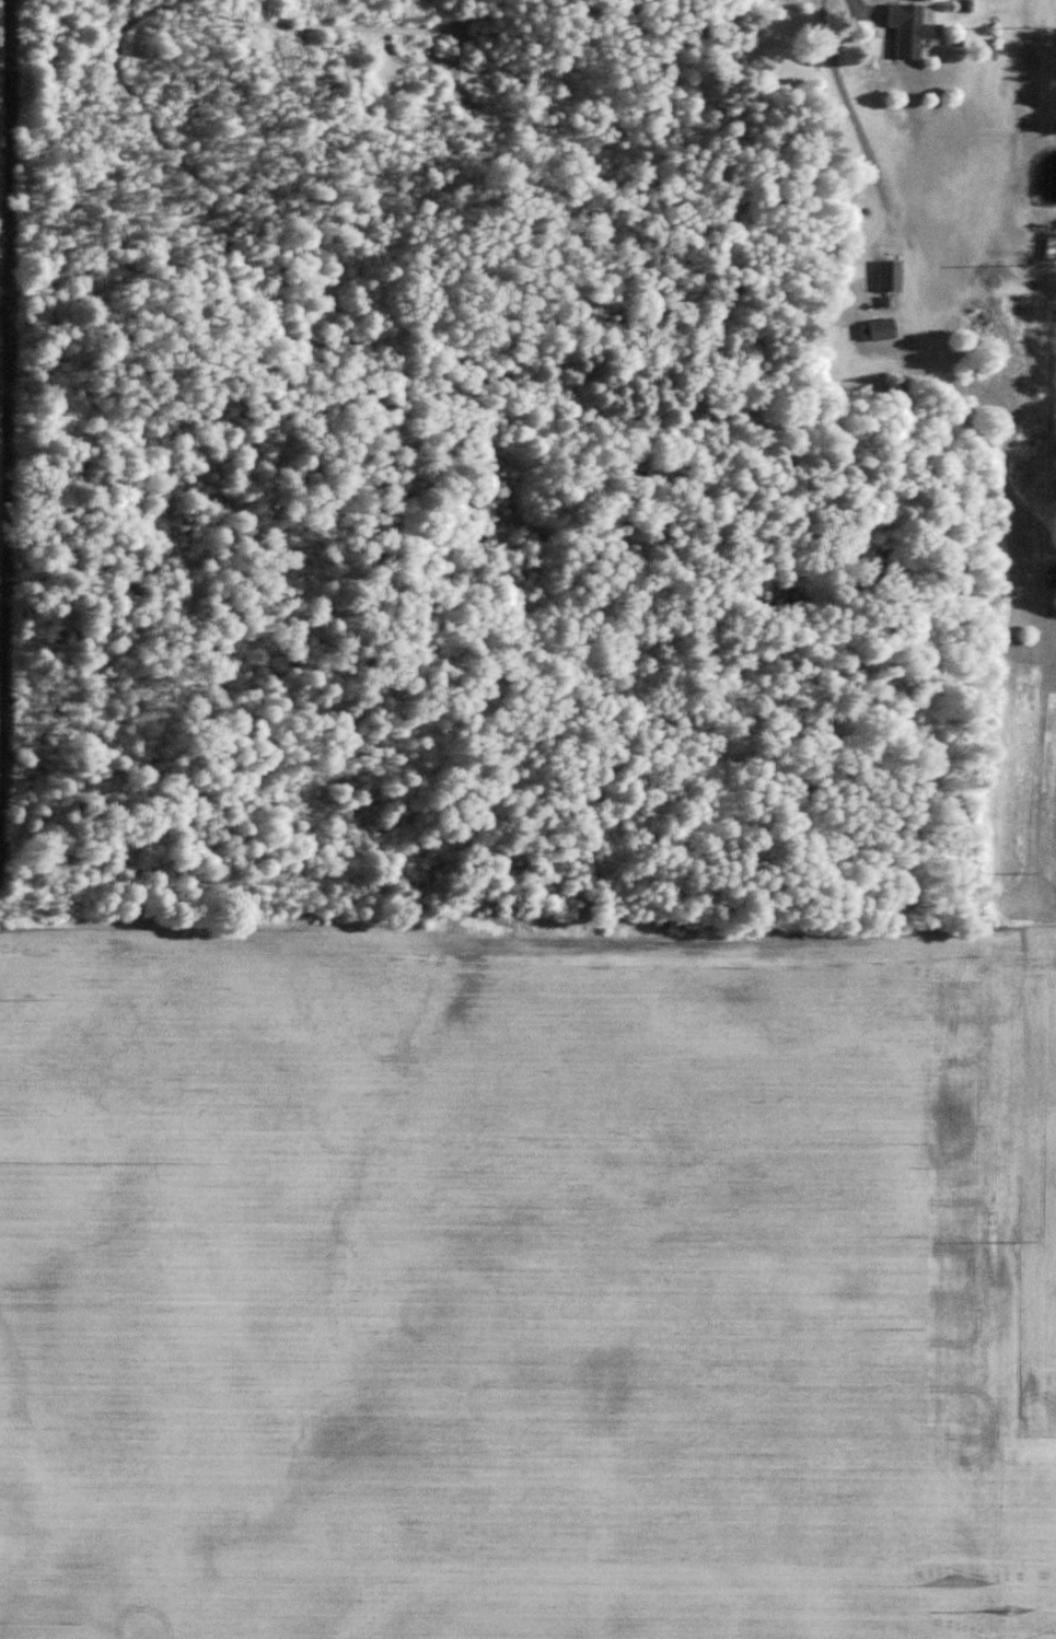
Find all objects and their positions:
building: (906, 32)
building: (889, 278)
building: (877, 332)

